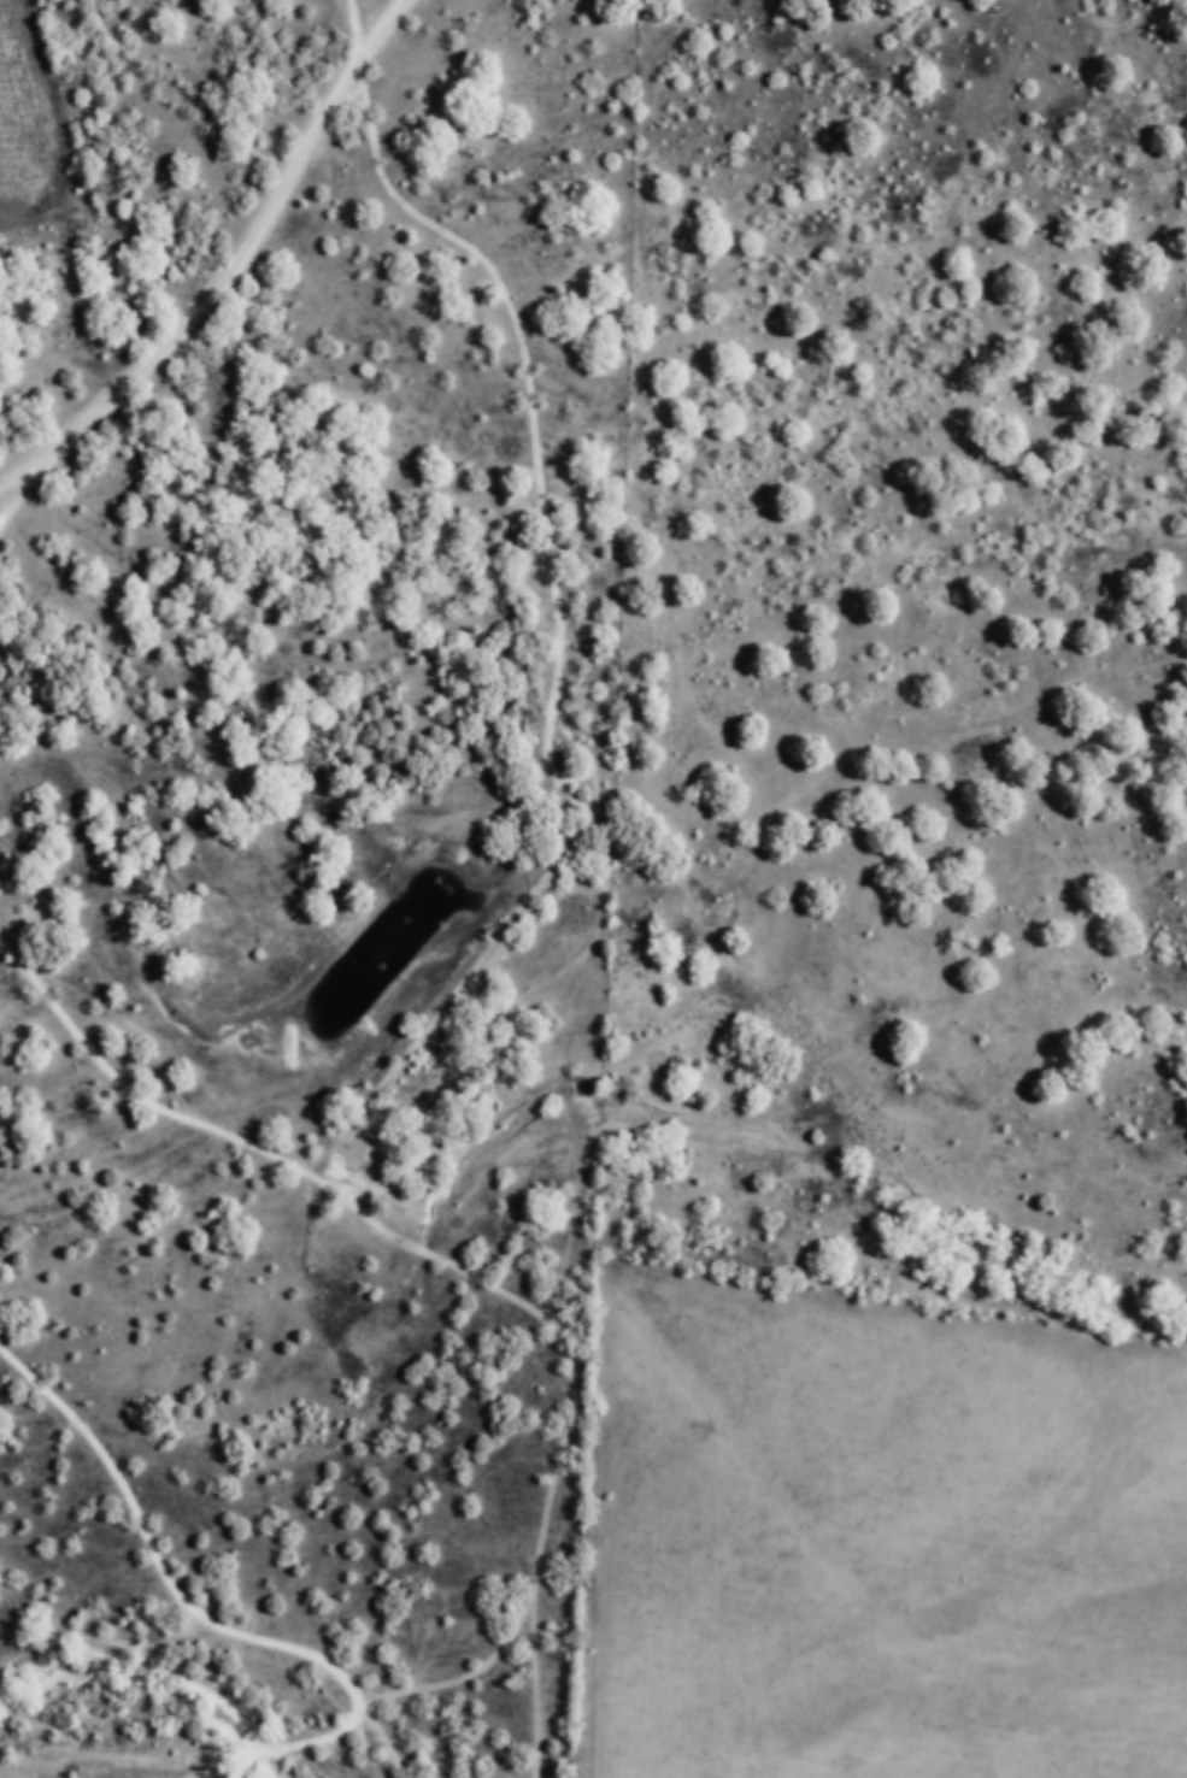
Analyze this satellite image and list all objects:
road: (234, 269)
road: (439, 1260)
road: (224, 1615)

